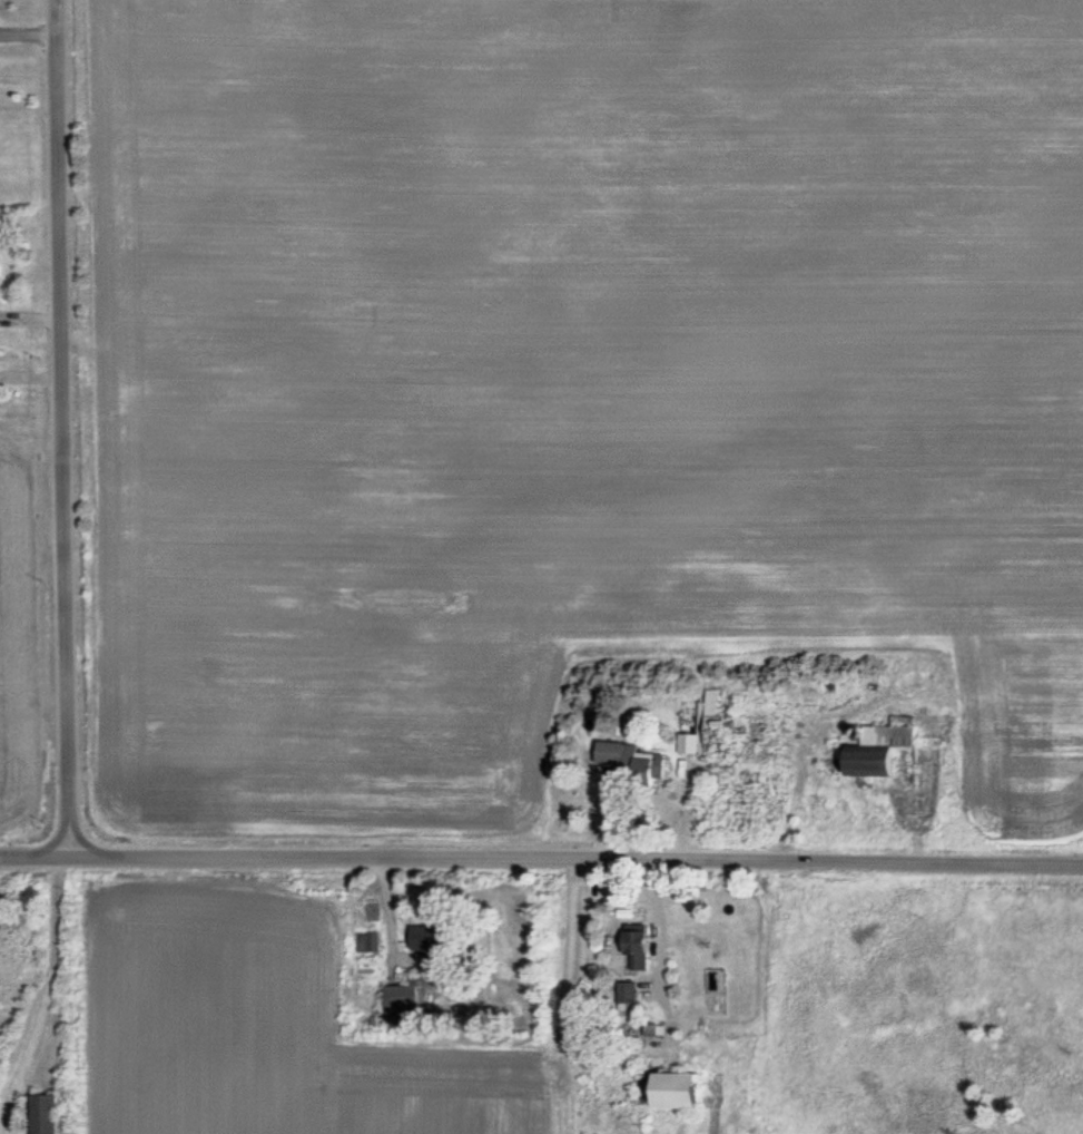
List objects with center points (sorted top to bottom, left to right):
road: (65, 428)
building: (690, 744)
building: (870, 749)
building: (629, 764)
road: (541, 851)
building: (432, 938)
building: (368, 942)
building: (636, 948)
building: (627, 993)
building: (401, 1003)
building: (664, 1091)
building: (42, 1113)

